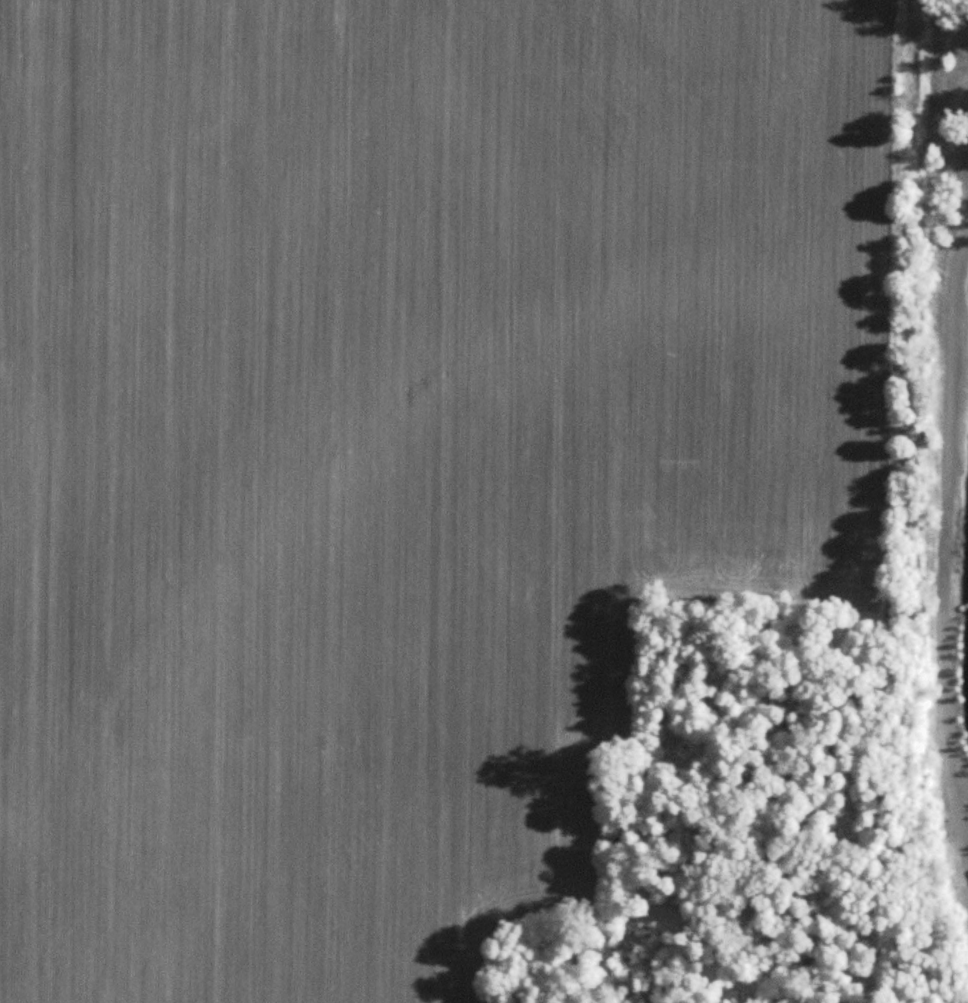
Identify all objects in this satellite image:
road: (944, 529)

